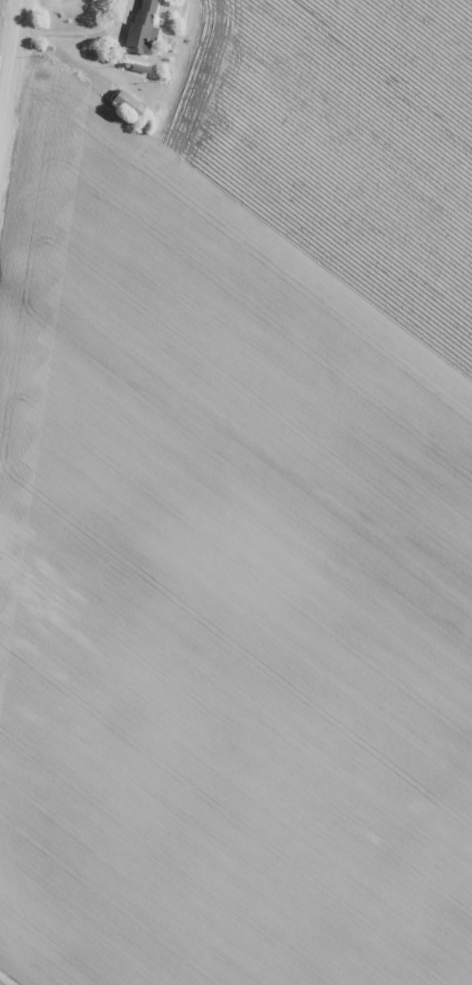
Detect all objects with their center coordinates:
building: (142, 26)
road: (11, 77)
building: (127, 103)

